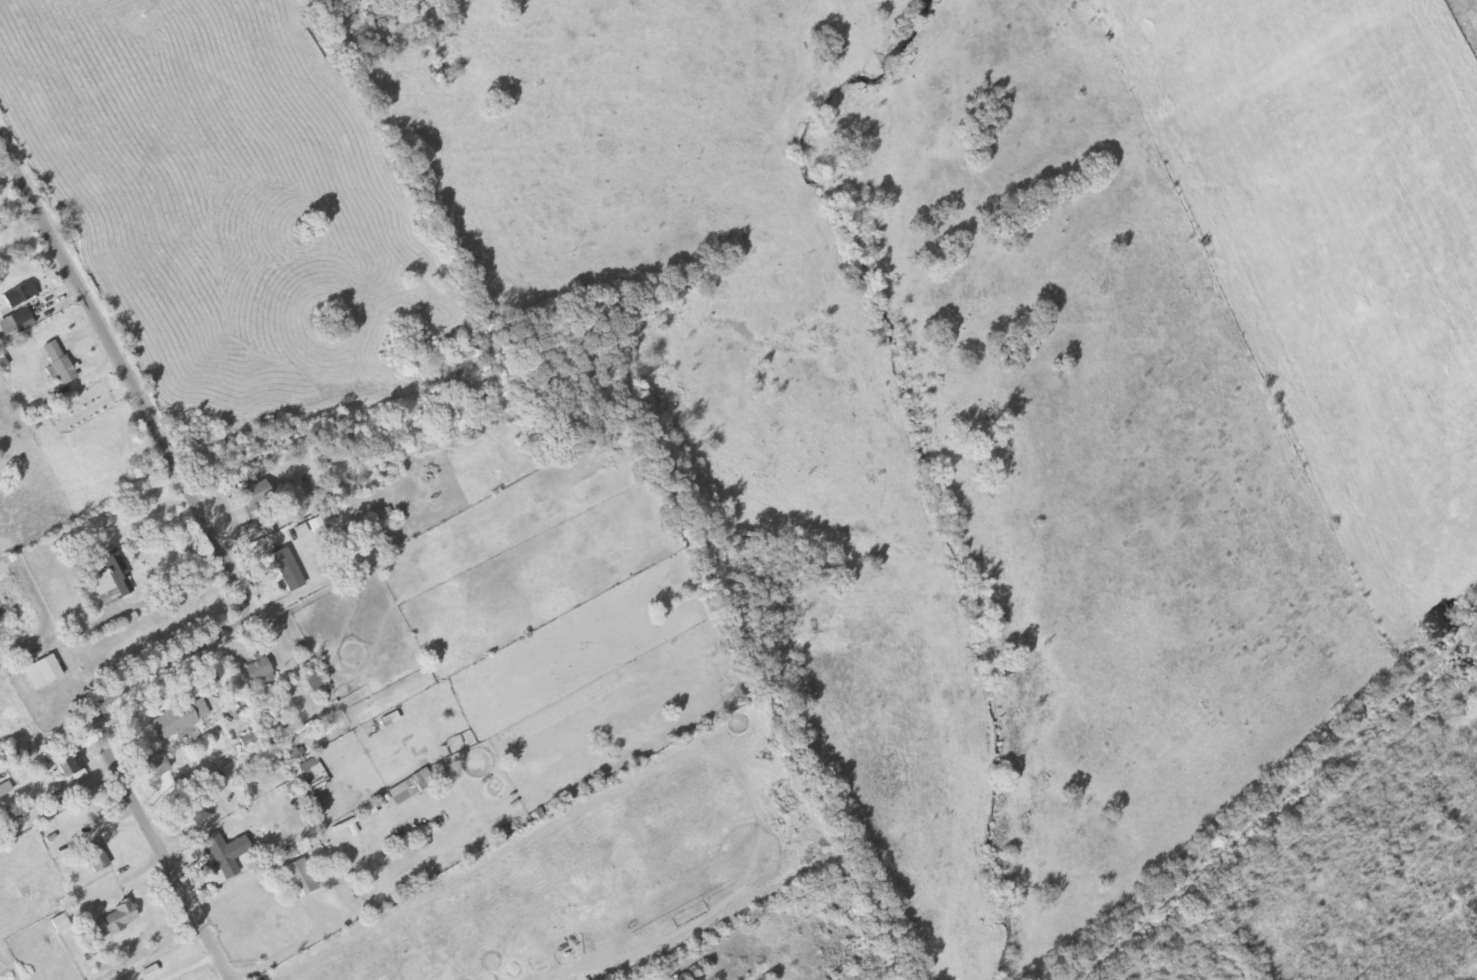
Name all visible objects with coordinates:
building: (378, 16)
building: (0, 221)
building: (18, 295)
building: (21, 320)
building: (57, 364)
building: (255, 507)
building: (286, 569)
building: (112, 579)
road: (238, 581)
building: (257, 671)
building: (42, 672)
building: (314, 682)
building: (179, 719)
building: (277, 725)
building: (69, 762)
building: (152, 768)
building: (4, 789)
building: (399, 794)
railway: (1272, 798)
building: (199, 809)
building: (224, 853)
building: (94, 857)
building: (295, 880)
building: (112, 921)
building: (60, 923)

